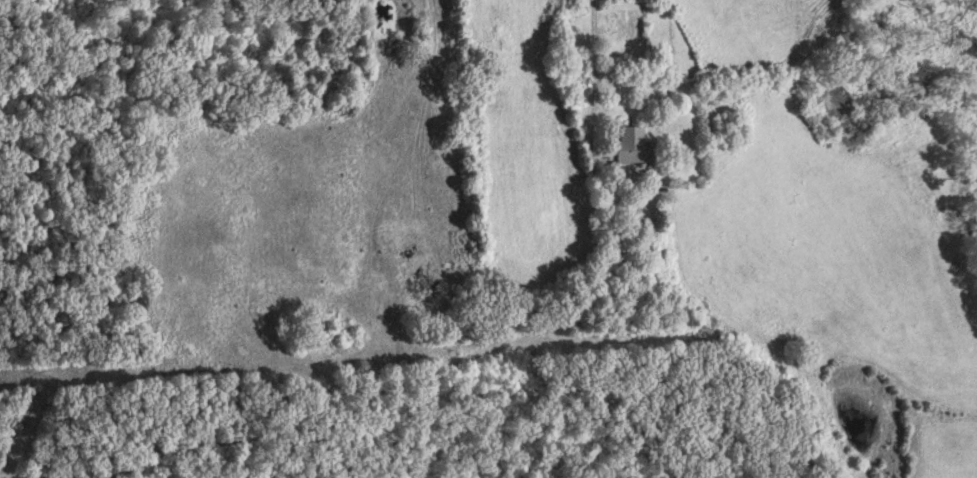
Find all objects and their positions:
building: (632, 142)

